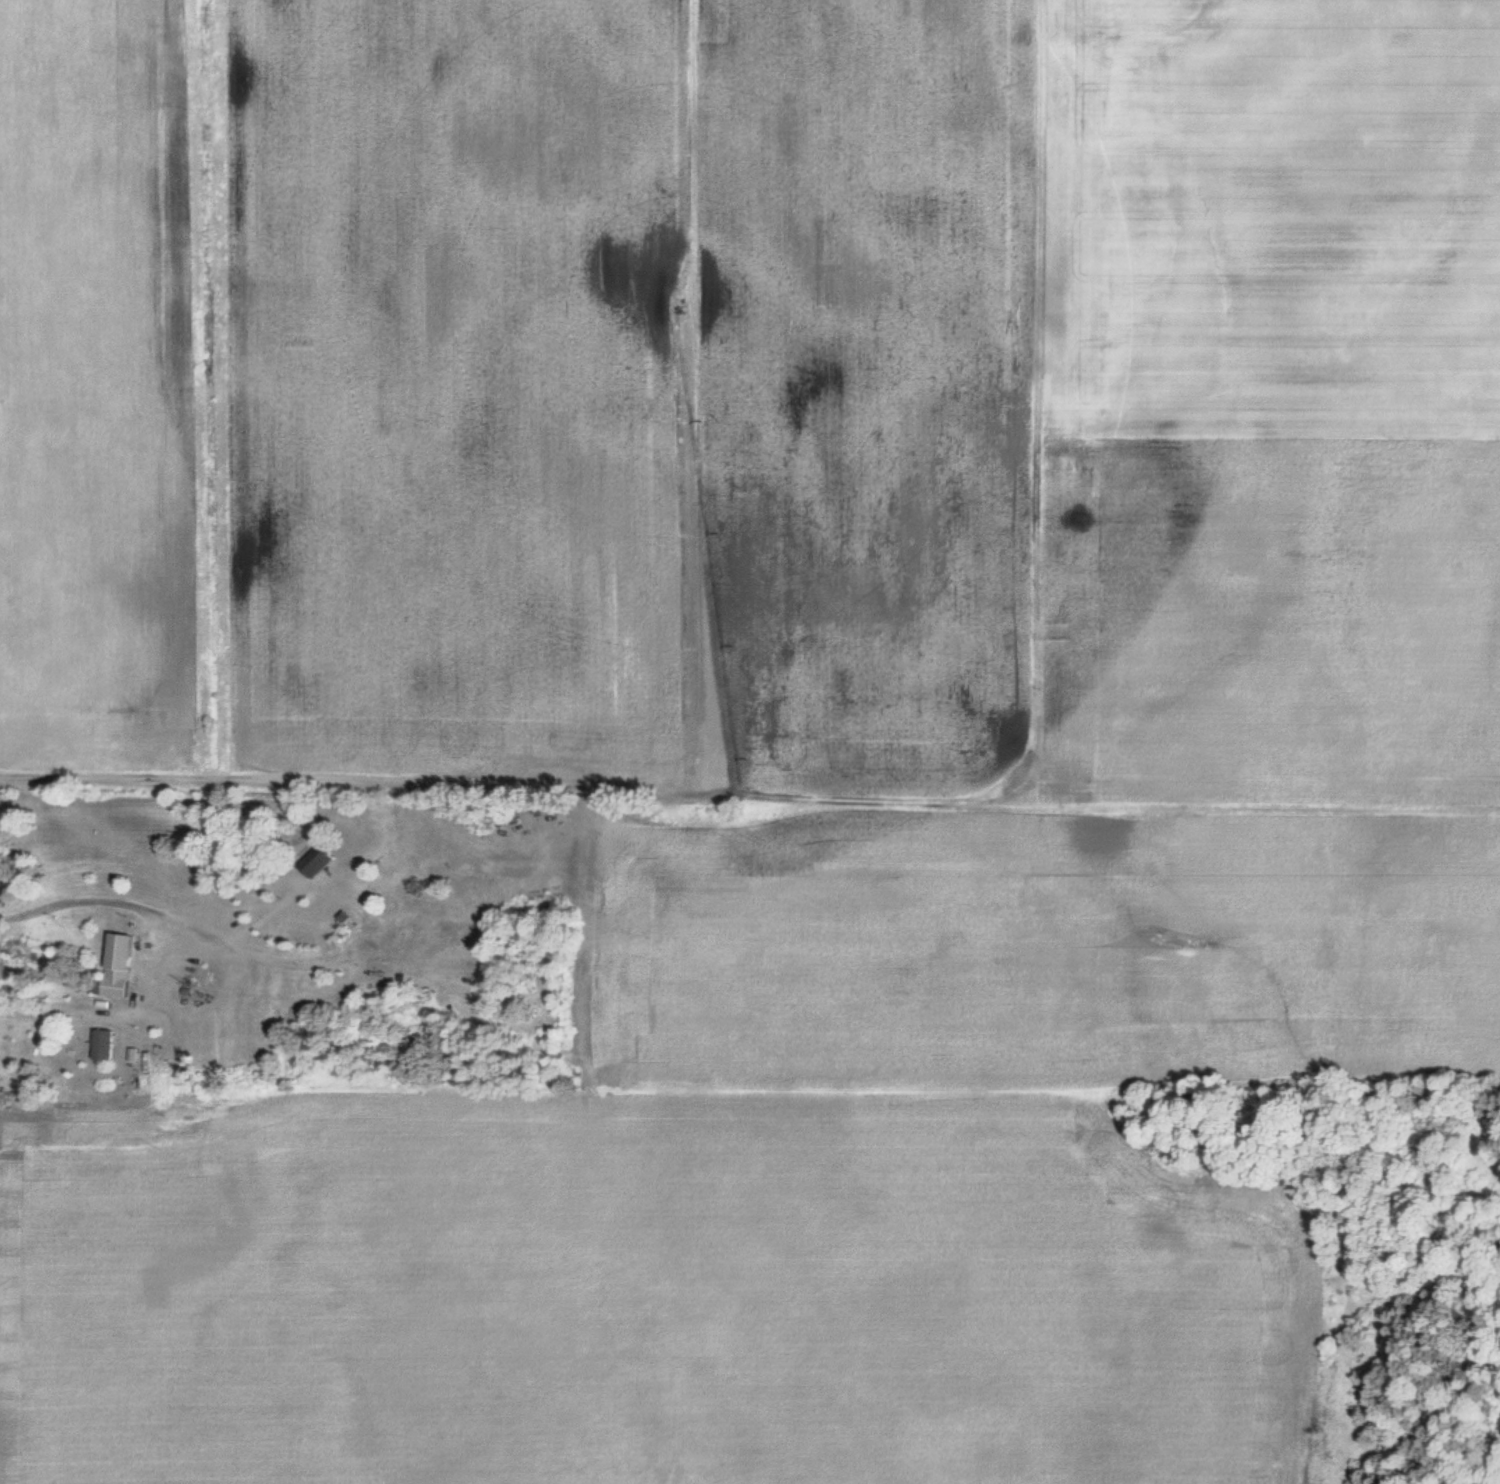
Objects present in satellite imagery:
building: (325, 861)
building: (116, 987)
building: (109, 1045)

